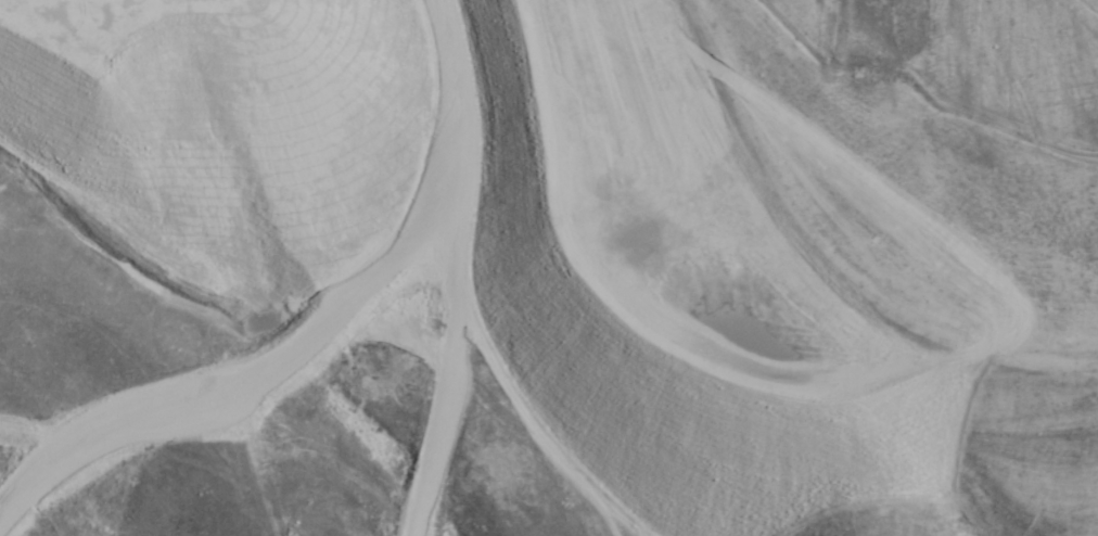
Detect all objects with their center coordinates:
road: (392, 158)

